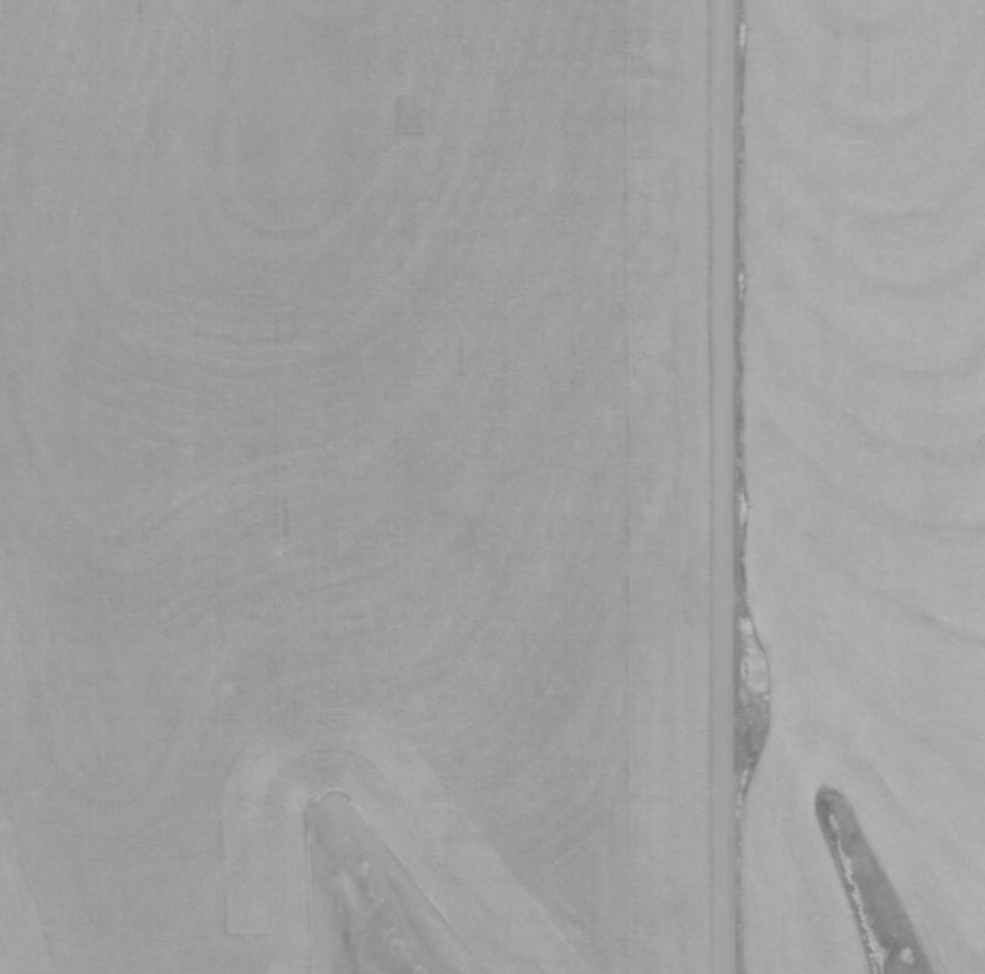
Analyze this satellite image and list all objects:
road: (724, 487)

